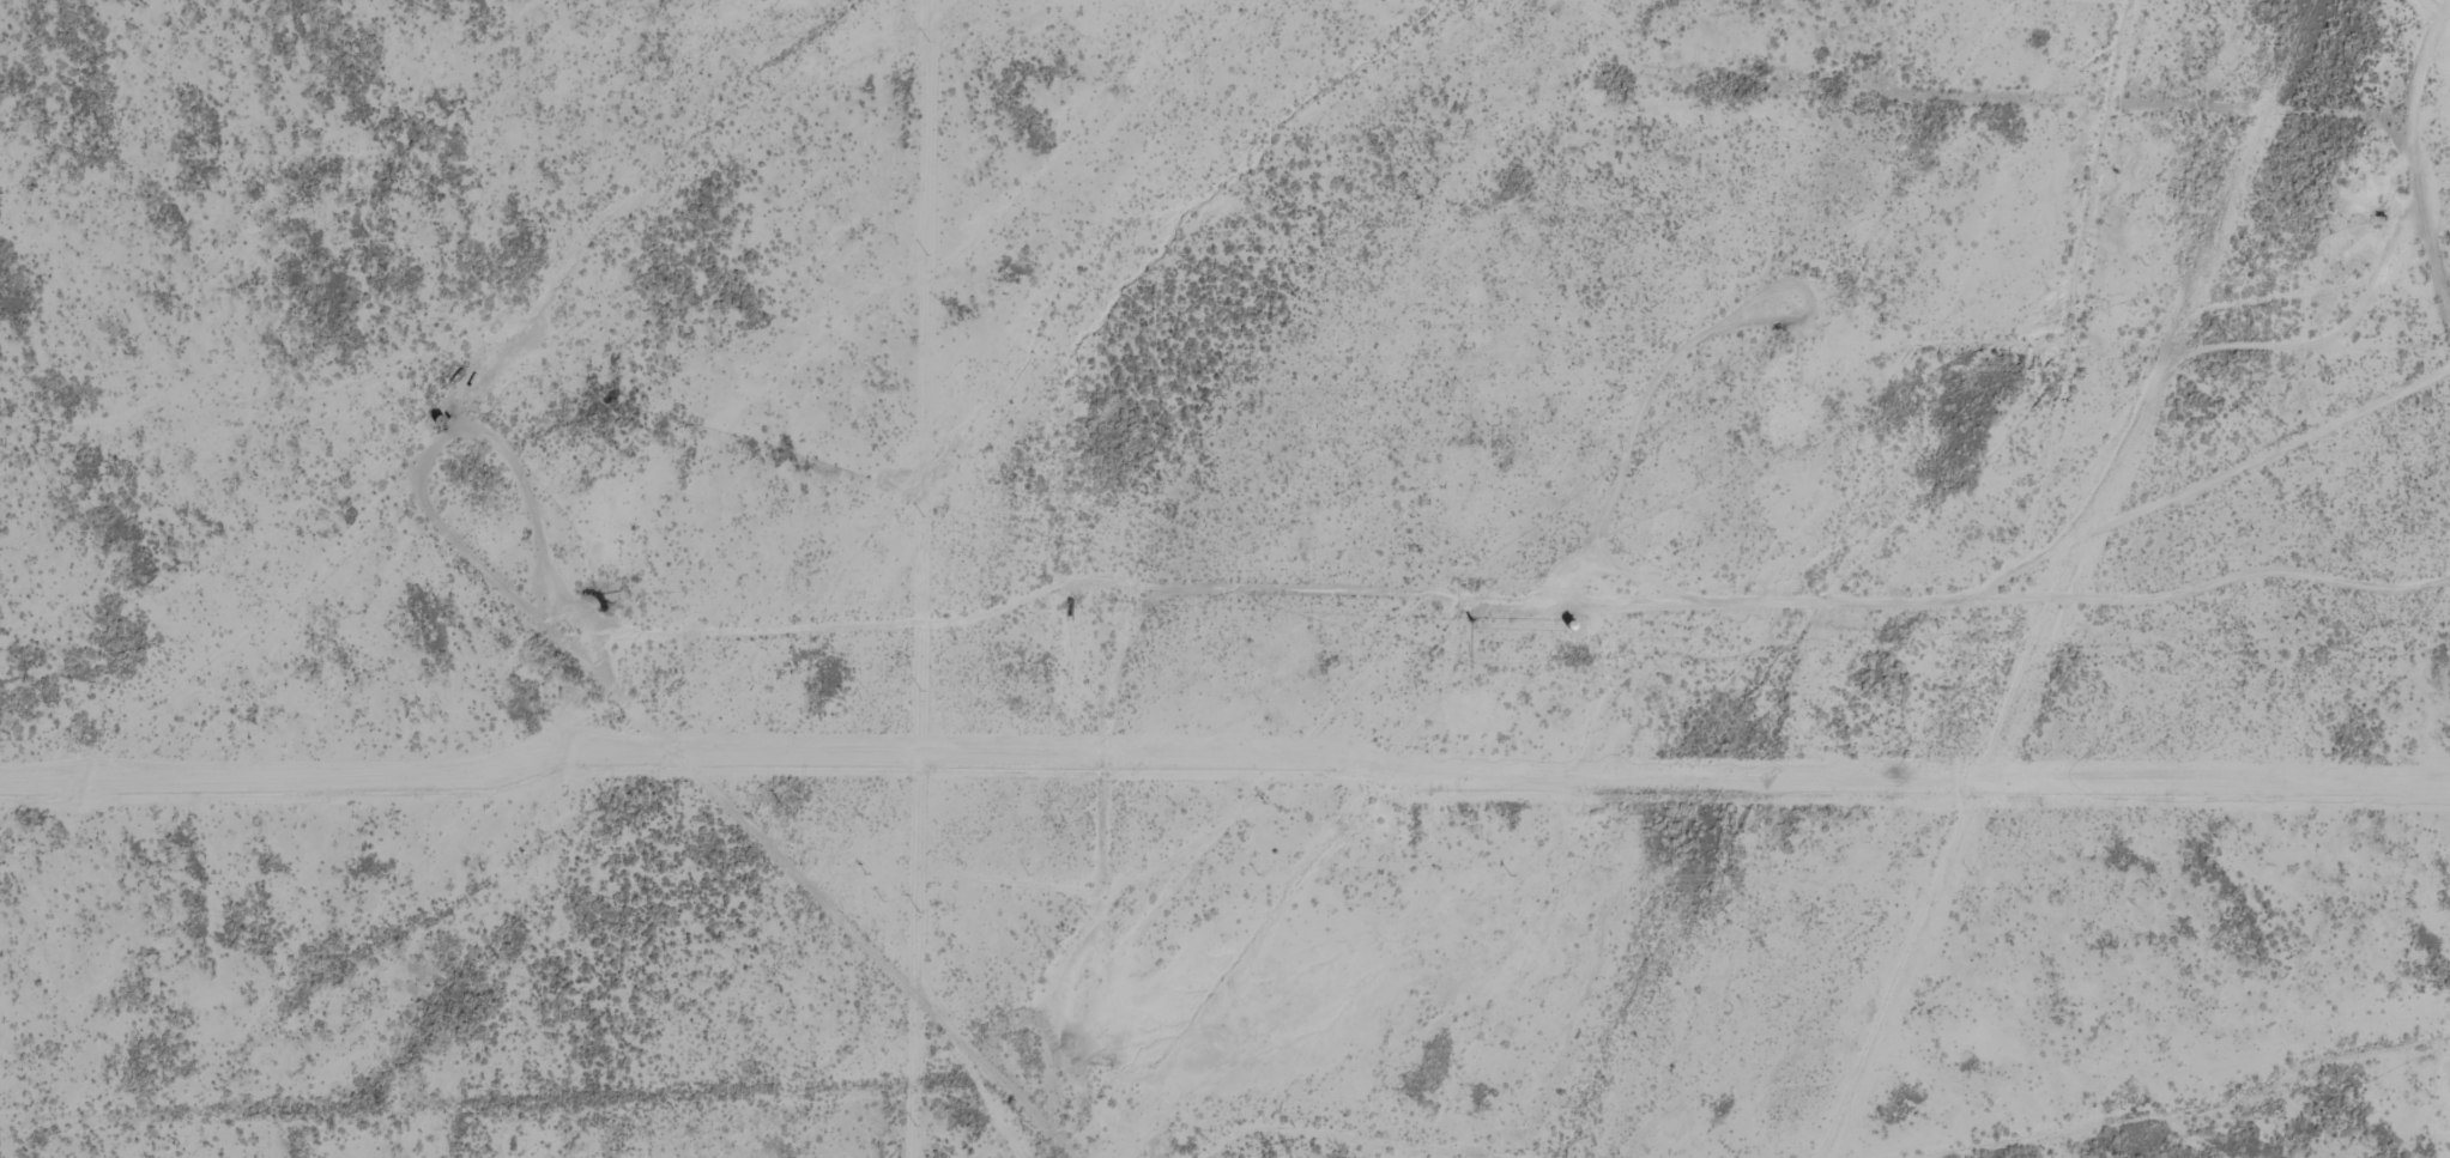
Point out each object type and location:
road: (2410, 180)
road: (1138, 631)
road: (621, 661)
road: (179, 1157)

